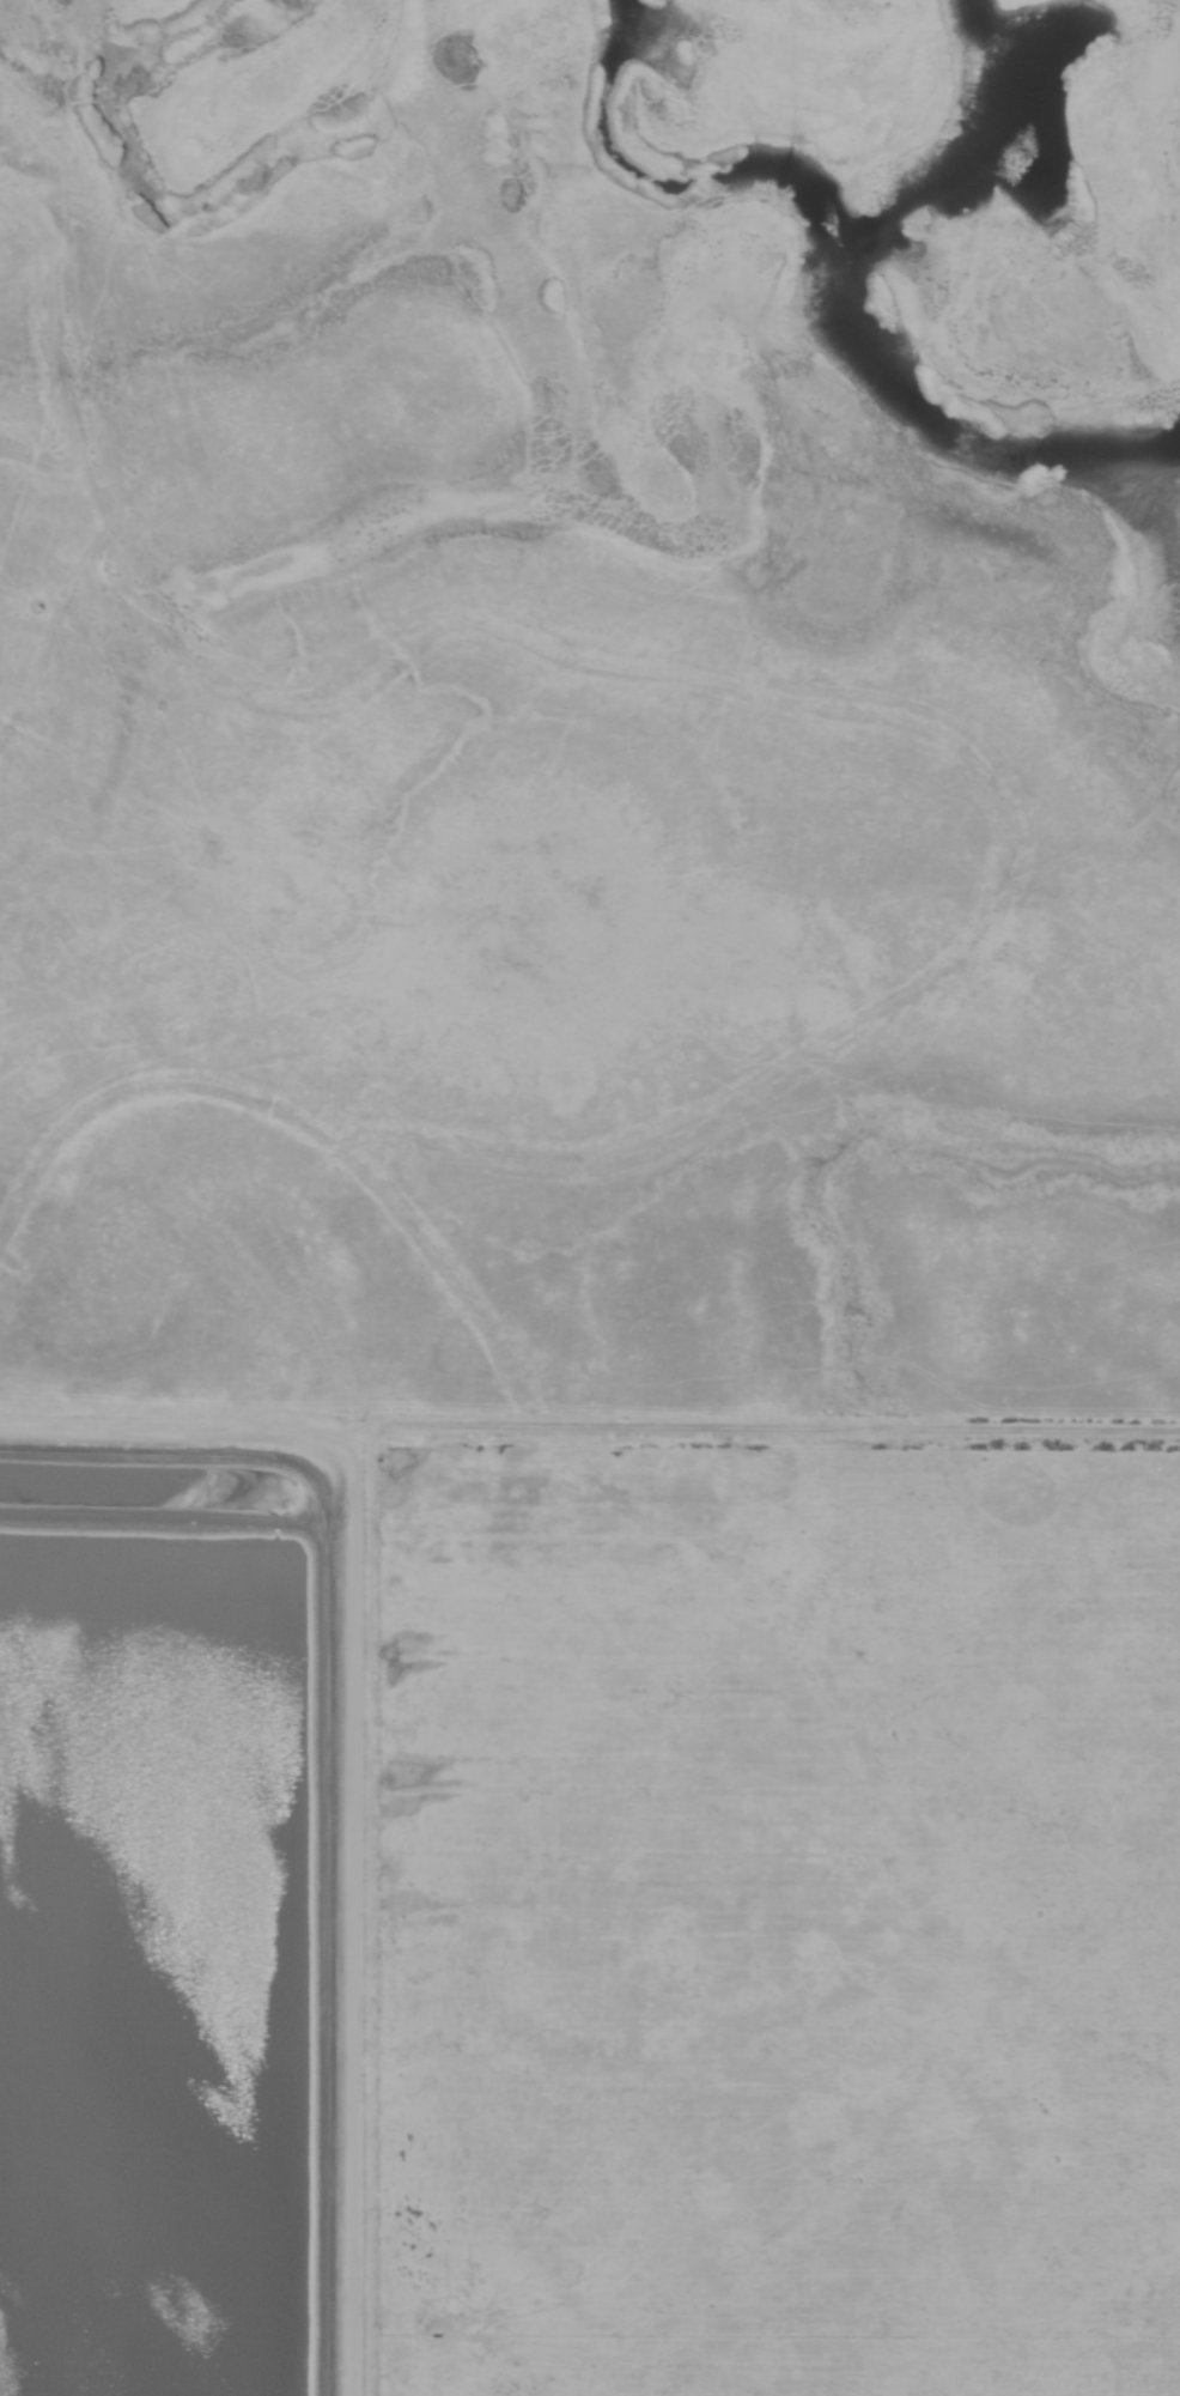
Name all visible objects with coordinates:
crop: (775, 1906)

